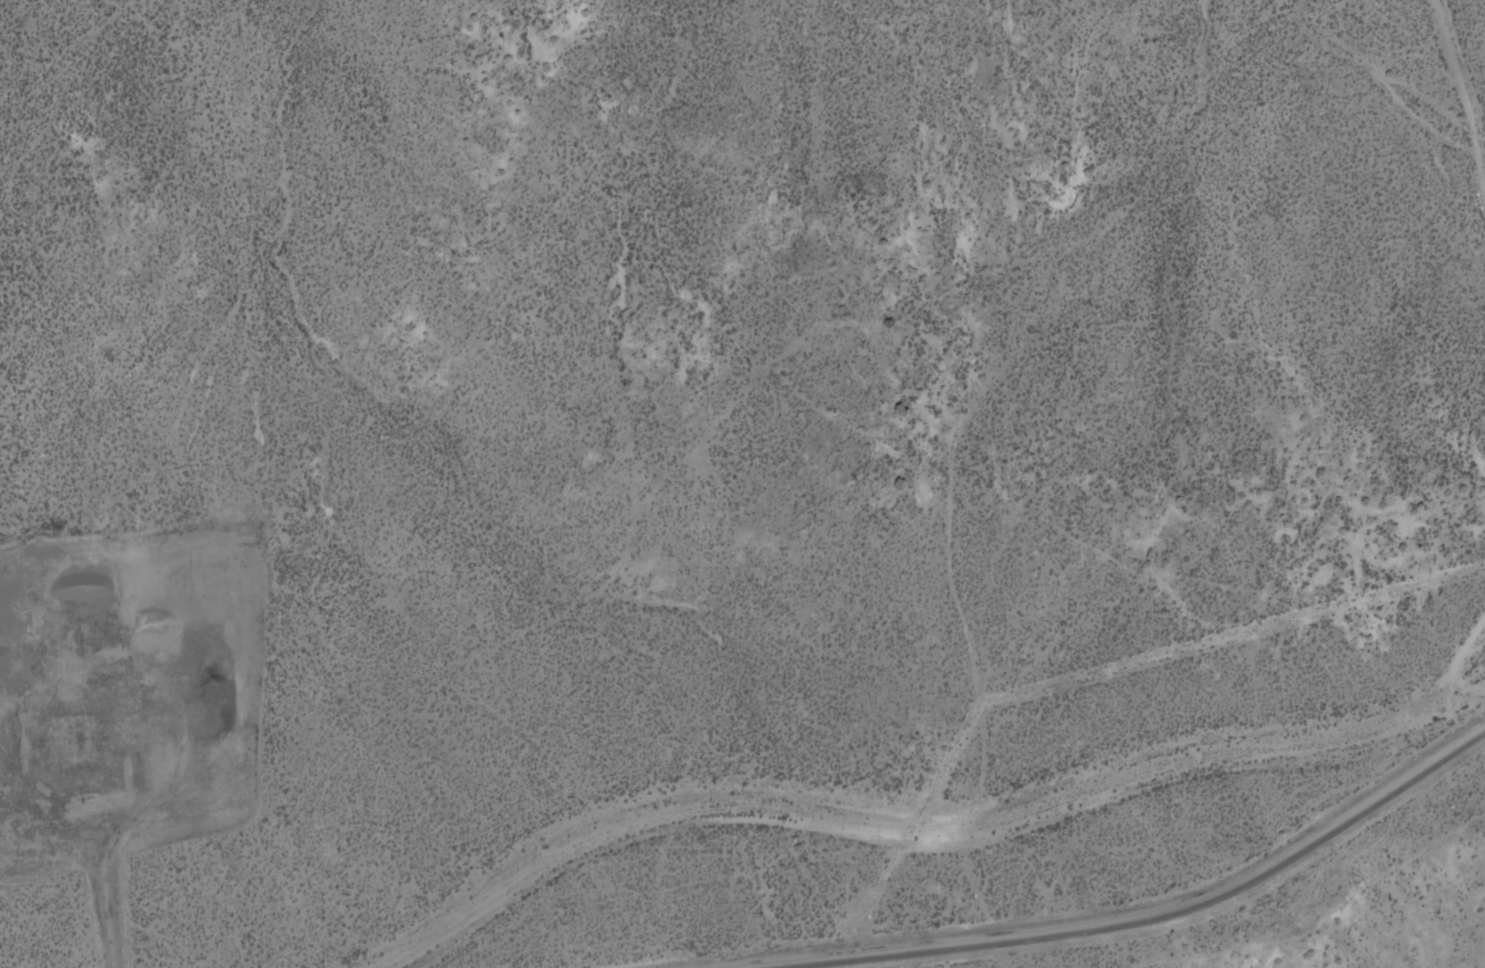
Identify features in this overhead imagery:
road: (1459, 56)
road: (1458, 636)
road: (882, 817)
road: (1141, 920)

